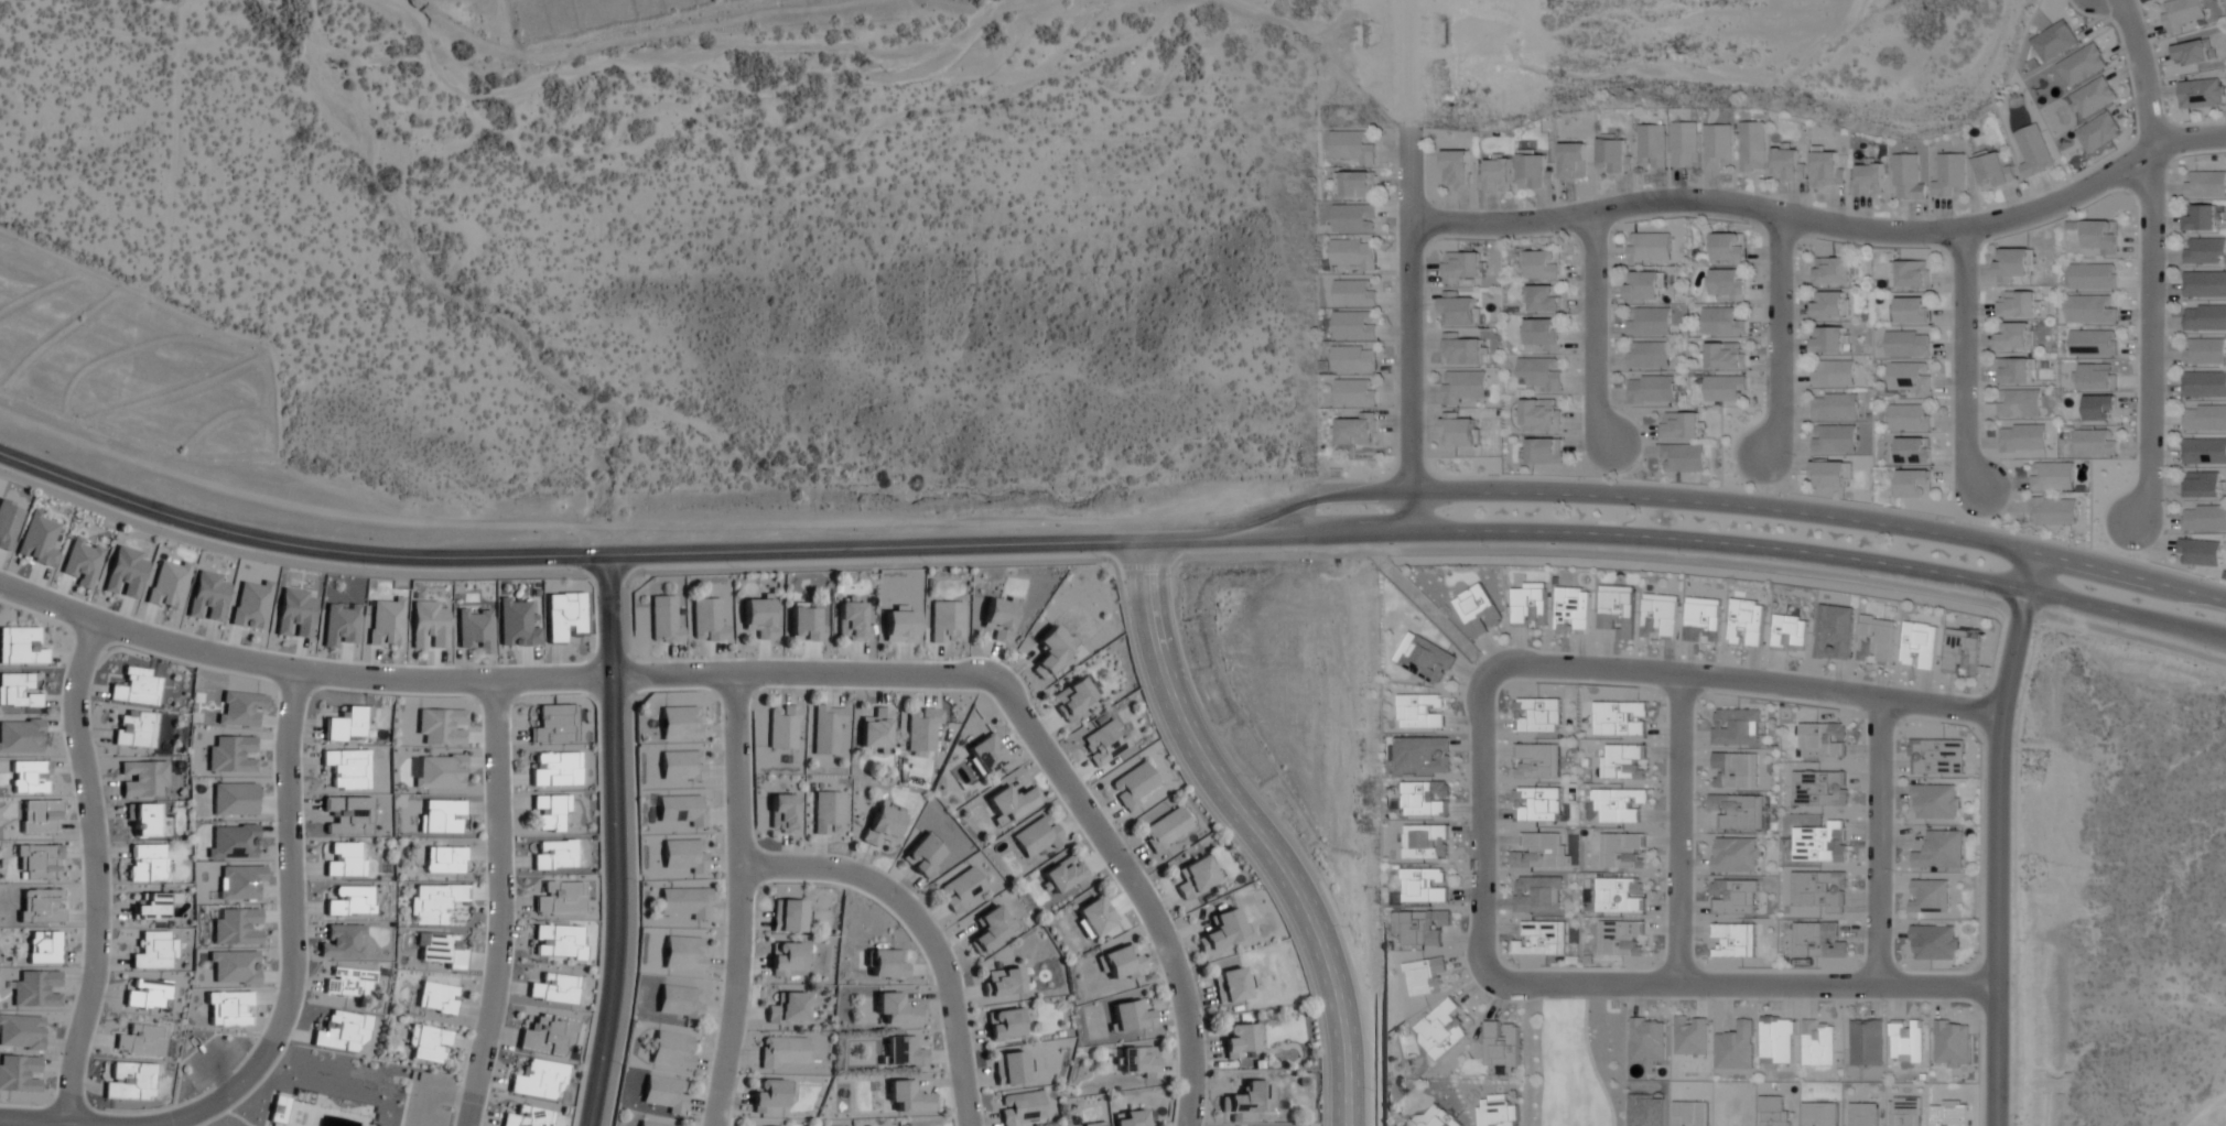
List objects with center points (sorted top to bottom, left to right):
building: (2181, 13)
building: (2055, 40)
building: (2192, 51)
building: (2082, 64)
building: (2201, 91)
building: (2092, 96)
building: (2098, 131)
building: (1684, 143)
building: (1652, 144)
building: (1718, 145)
building: (1752, 145)
building: (1353, 147)
building: (2033, 149)
building: (1612, 152)
building: (1573, 161)
building: (1787, 163)
building: (1827, 167)
building: (1457, 169)
building: (1995, 169)
building: (1534, 170)
building: (1495, 173)
building: (1949, 174)
building: (1908, 175)
building: (1869, 176)
building: (1355, 184)
building: (2205, 184)
street lamp: (2128, 193)
building: (2201, 217)
building: (1352, 218)
street lamp: (1747, 220)
road: (1825, 221)
street lamp: (1393, 234)
street lamp: (1556, 234)
building: (2101, 234)
building: (1647, 247)
building: (1727, 247)
street lamp: (1928, 247)
building: (2204, 251)
building: (1352, 253)
road: (2152, 259)
building: (1543, 263)
building: (2011, 263)
building: (1461, 268)
building: (1831, 270)
building: (1911, 272)
building: (2093, 275)
building: (1728, 283)
building: (2204, 284)
building: (1643, 285)
building: (1354, 292)
building: (1542, 297)
building: (1829, 303)
building: (2018, 303)
building: (2090, 308)
building: (1913, 310)
building: (1458, 311)
building: (2204, 317)
building: (1723, 320)
building: (1649, 321)
building: (1354, 324)
road: (1409, 328)
road: (1593, 333)
building: (1541, 334)
road: (1779, 335)
building: (2014, 335)
building: (1829, 338)
building: (1909, 344)
building: (2092, 344)
building: (1461, 351)
building: (2204, 351)
building: (1649, 354)
building: (1726, 355)
building: (1353, 357)
road: (1965, 359)
building: (2012, 370)
building: (1833, 372)
building: (1538, 375)
building: (2097, 376)
building: (1909, 378)
building: (2203, 385)
building: (1463, 387)
building: (1651, 388)
building: (1725, 388)
building: (1354, 390)
building: (2019, 403)
building: (1835, 405)
street lamp: (1614, 407)
building: (2098, 408)
building: (1539, 415)
building: (1910, 418)
building: (2204, 419)
building: (1682, 424)
building: (1357, 427)
building: (1458, 429)
building: (2022, 436)
building: (1834, 437)
building: (2094, 442)
building: (1912, 451)
building: (1543, 452)
building: (2203, 452)
street lamp: (1795, 455)
building: (1683, 456)
street lamp: (2133, 457)
street lamp: (1948, 465)
building: (1830, 473)
building: (2052, 475)
street lamp: (1375, 476)
street lamp: (1585, 477)
building: (1913, 484)
building: (2203, 485)
street lamp: (1785, 494)
road: (1711, 502)
building: (2053, 509)
street lamp: (1943, 517)
building: (2203, 519)
road: (1305, 535)
street lamp: (2074, 543)
street lamp: (1485, 545)
building: (2198, 553)
street lamp: (1683, 554)
street lamp: (1096, 556)
road: (1822, 556)
road: (591, 560)
street lamp: (1866, 576)
street lamp: (2207, 577)
street lamp: (1988, 597)
street lamp: (89, 602)
building: (250, 604)
building: (1528, 604)
building: (1474, 608)
building: (1573, 608)
building: (1617, 609)
building: (295, 613)
building: (758, 615)
building: (1660, 616)
building: (998, 617)
building: (664, 619)
building: (1703, 619)
building: (707, 620)
building: (852, 620)
building: (945, 621)
building: (1747, 621)
building: (339, 622)
building: (806, 624)
building: (899, 625)
street lamp: (2122, 628)
building: (1835, 631)
building: (1790, 632)
building: (1877, 639)
street lamp: (1509, 643)
building: (1920, 645)
building: (20, 646)
street lamp: (264, 648)
building: (1051, 650)
building: (1963, 650)
street lamp: (2209, 652)
street lamp: (1679, 657)
building: (1427, 660)
street lamp: (497, 663)
street lamp: (1006, 663)
road: (739, 672)
street lamp: (1893, 682)
building: (137, 687)
street lamp: (767, 687)
street lamp: (1139, 687)
building: (18, 691)
street lamp: (637, 694)
building: (1073, 699)
building: (240, 708)
building: (1420, 710)
building: (1537, 714)
building: (1620, 717)
building: (680, 723)
building: (555, 724)
building: (345, 725)
building: (1735, 725)
building: (441, 726)
building: (782, 727)
building: (876, 728)
building: (922, 728)
building: (134, 729)
building: (826, 730)
building: (21, 735)
building: (1823, 738)
building: (1103, 743)
building: (231, 754)
building: (985, 754)
building: (1423, 755)
building: (1936, 755)
building: (1536, 759)
building: (1623, 760)
building: (681, 765)
building: (347, 768)
building: (1735, 768)
building: (554, 769)
street lamp: (1245, 775)
building: (29, 776)
building: (142, 778)
building: (1133, 786)
building: (1819, 787)
building: (1425, 798)
building: (234, 799)
building: (1934, 801)
building: (1619, 802)
building: (1537, 803)
building: (1011, 804)
building: (680, 810)
building: (1738, 810)
building: (550, 812)
building: (826, 812)
building: (781, 813)
building: (348, 814)
building: (40, 816)
building: (441, 816)
street lamp: (1466, 819)
road: (1481, 819)
building: (144, 820)
building: (882, 824)
street lamp: (1217, 826)
street lamp: (1663, 827)
building: (1165, 829)
road: (1679, 829)
street lamp: (1116, 830)
road: (1256, 830)
road: (1999, 836)
building: (1036, 838)
building: (1426, 840)
road: (1879, 840)
building: (233, 842)
building: (1822, 842)
road: (616, 843)
building: (1623, 848)
building: (1939, 848)
building: (1541, 851)
building: (1735, 853)
building: (554, 854)
building: (682, 856)
building: (923, 856)
building: (345, 859)
building: (444, 859)
building: (39, 860)
building: (147, 862)
road: (84, 869)
street lamp: (1894, 869)
building: (1063, 876)
building: (1195, 877)
building: (240, 881)
building: (1425, 884)
street lamp: (760, 887)
building: (1820, 888)
building: (961, 890)
building: (1538, 892)
building: (1620, 894)
building: (1928, 895)
building: (1735, 896)
building: (560, 897)
road: (741, 899)
building: (349, 900)
building: (685, 901)
building: (433, 902)
road: (500, 905)
building: (41, 906)
building: (152, 907)
building: (1094, 916)
building: (787, 917)
building: (1422, 924)
building: (236, 927)
street lamp: (1343, 927)
road: (923, 928)
building: (992, 928)
building: (1223, 929)
building: (1622, 936)
building: (1542, 938)
building: (1735, 939)
building: (1818, 939)
building: (559, 941)
building: (1934, 941)
building: (342, 942)
building: (43, 948)
building: (439, 950)
building: (154, 951)
building: (683, 952)
building: (787, 960)
building: (886, 963)
building: (1120, 963)
building: (234, 967)
street lamp: (963, 974)
building: (1426, 974)
building: (348, 982)
building: (1003, 982)
building: (1231, 985)
building: (36, 988)
building: (554, 988)
building: (147, 995)
building: (434, 997)
street lamp: (1492, 997)
street lamp: (1714, 999)
street lamp: (1887, 1000)
building: (679, 1002)
street lamp: (1311, 1002)
road: (275, 1005)
building: (788, 1007)
building: (228, 1008)
building: (896, 1009)
building: (1131, 1016)
street lamp: (1203, 1018)
building: (1005, 1025)
building: (1441, 1028)
building: (343, 1031)
building: (1692, 1033)
building: (548, 1035)
building: (1647, 1039)
building: (1777, 1039)
building: (1241, 1040)
building: (1906, 1040)
building: (141, 1041)
building: (1866, 1041)
building: (1952, 1042)
building: (428, 1043)
building: (1501, 1043)
building: (1818, 1043)
building: (1736, 1044)
building: (782, 1050)
building: (671, 1051)
building: (901, 1052)
building: (1137, 1061)
building: (1009, 1069)
street lamp: (738, 1073)
building: (19, 1074)
building: (539, 1079)
building: (128, 1083)
street lamp: (1374, 1091)
building: (662, 1094)
building: (768, 1094)
building: (908, 1097)
building: (1249, 1098)
street lamp: (35, 1104)
building: (1022, 1109)
building: (1905, 1109)
building: (1495, 1111)
building: (1949, 1112)
building: (529, 1116)
building: (1436, 1116)
building: (1133, 1118)
building: (650, 1123)
building: (1094, 1124)

